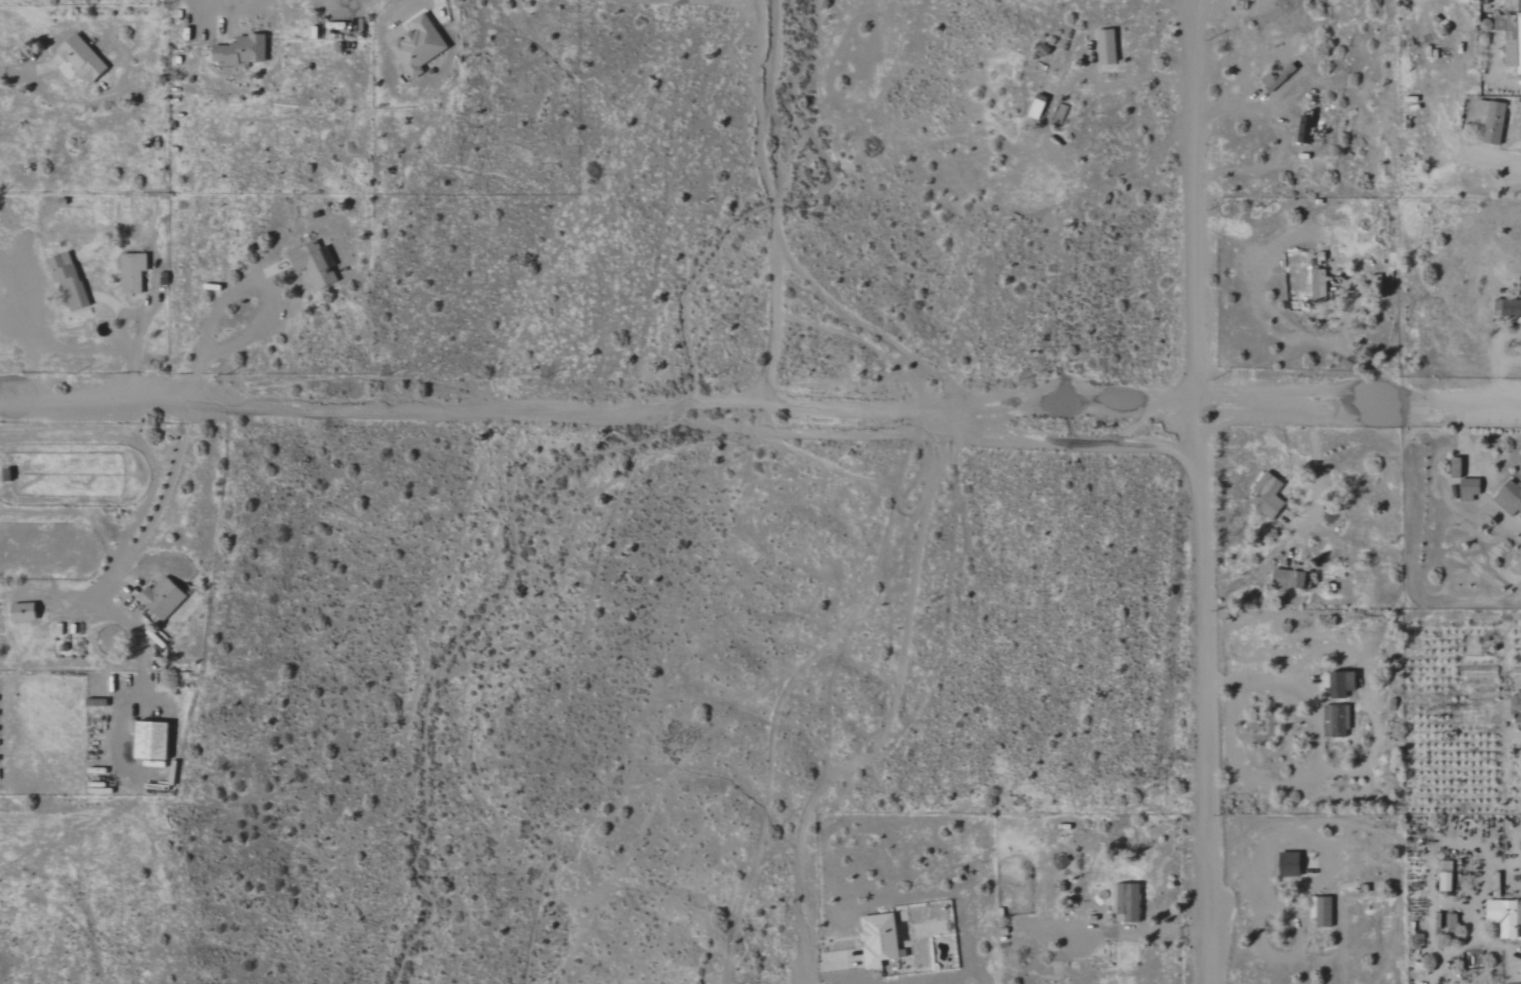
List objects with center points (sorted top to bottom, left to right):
building: (1511, 37)
building: (420, 46)
building: (1108, 47)
building: (243, 51)
building: (83, 59)
road: (1161, 78)
building: (1275, 80)
building: (1493, 120)
building: (1308, 127)
road: (1287, 145)
road: (1504, 163)
road: (775, 202)
building: (313, 264)
building: (134, 272)
building: (69, 280)
building: (1321, 285)
road: (265, 305)
building: (1508, 308)
road: (123, 326)
road: (1354, 358)
road: (760, 405)
road: (1316, 461)
building: (1459, 468)
road: (168, 487)
building: (1472, 489)
road: (1200, 491)
building: (1269, 496)
building: (1510, 498)
building: (1293, 577)
building: (163, 598)
building: (25, 612)
road: (1257, 681)
building: (1344, 685)
building: (1517, 709)
road: (890, 715)
building: (1337, 721)
building: (153, 741)
building: (1292, 864)
building: (1447, 882)
building: (1128, 903)
building: (1322, 911)
building: (1506, 917)
building: (1453, 921)

